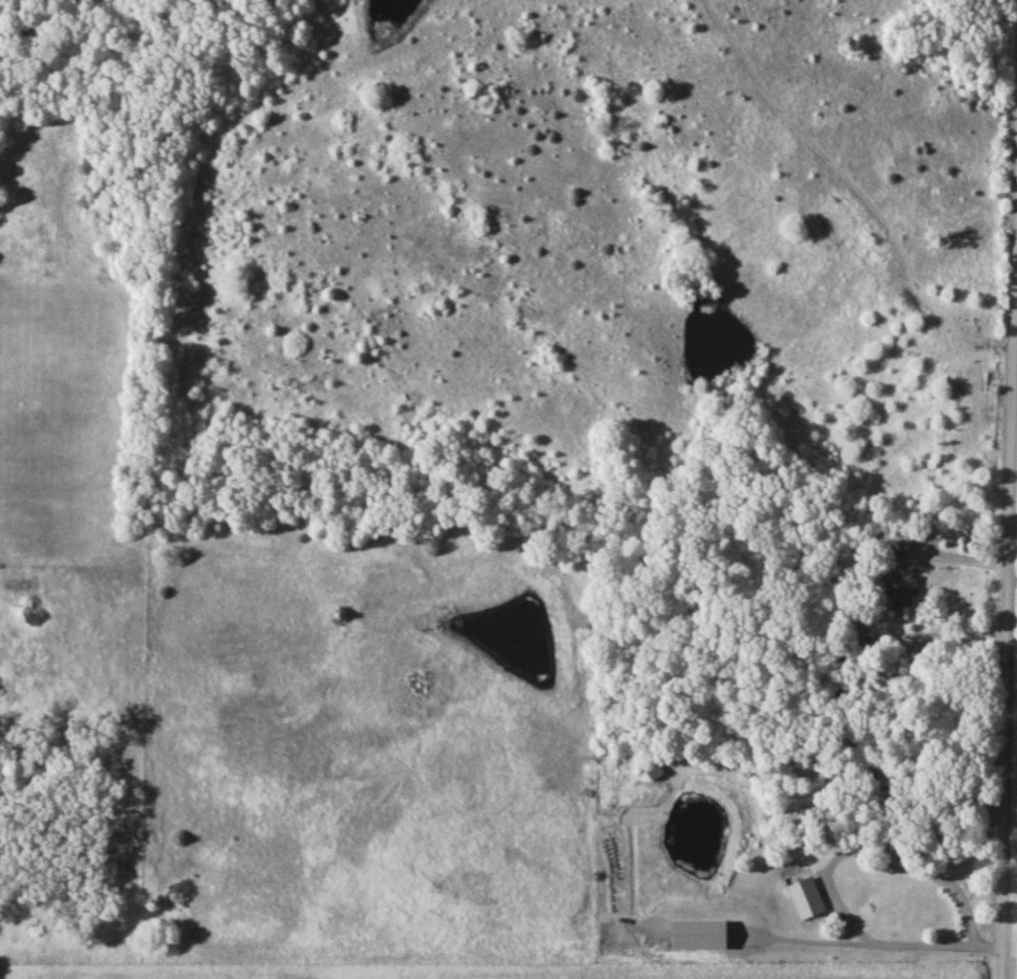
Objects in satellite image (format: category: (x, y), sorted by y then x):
road: (1013, 345)
road: (959, 559)
road: (1008, 566)
road: (1012, 583)
building: (905, 594)
building: (655, 771)
building: (855, 854)
road: (944, 883)
road: (832, 895)

